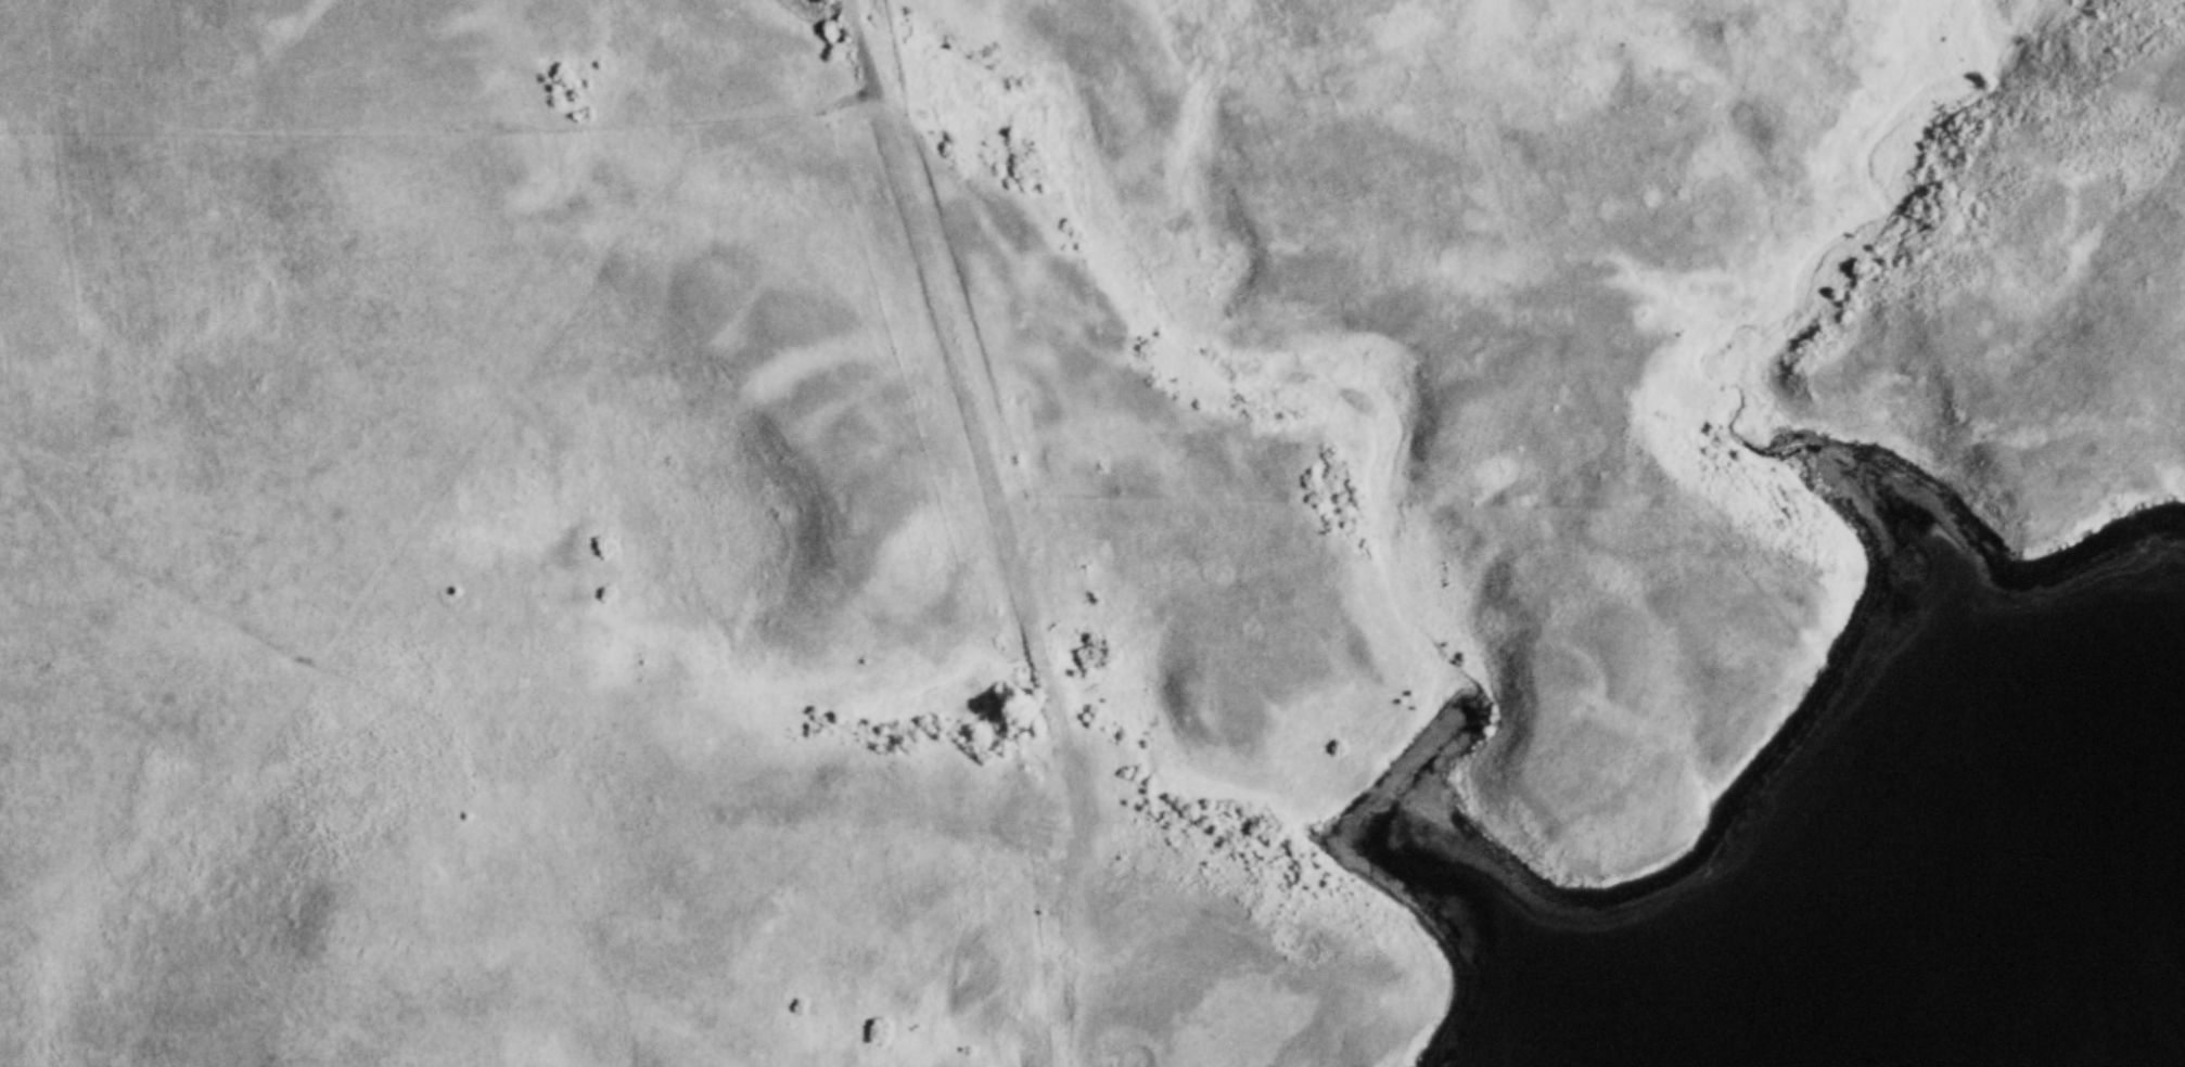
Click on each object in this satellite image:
road: (997, 531)

